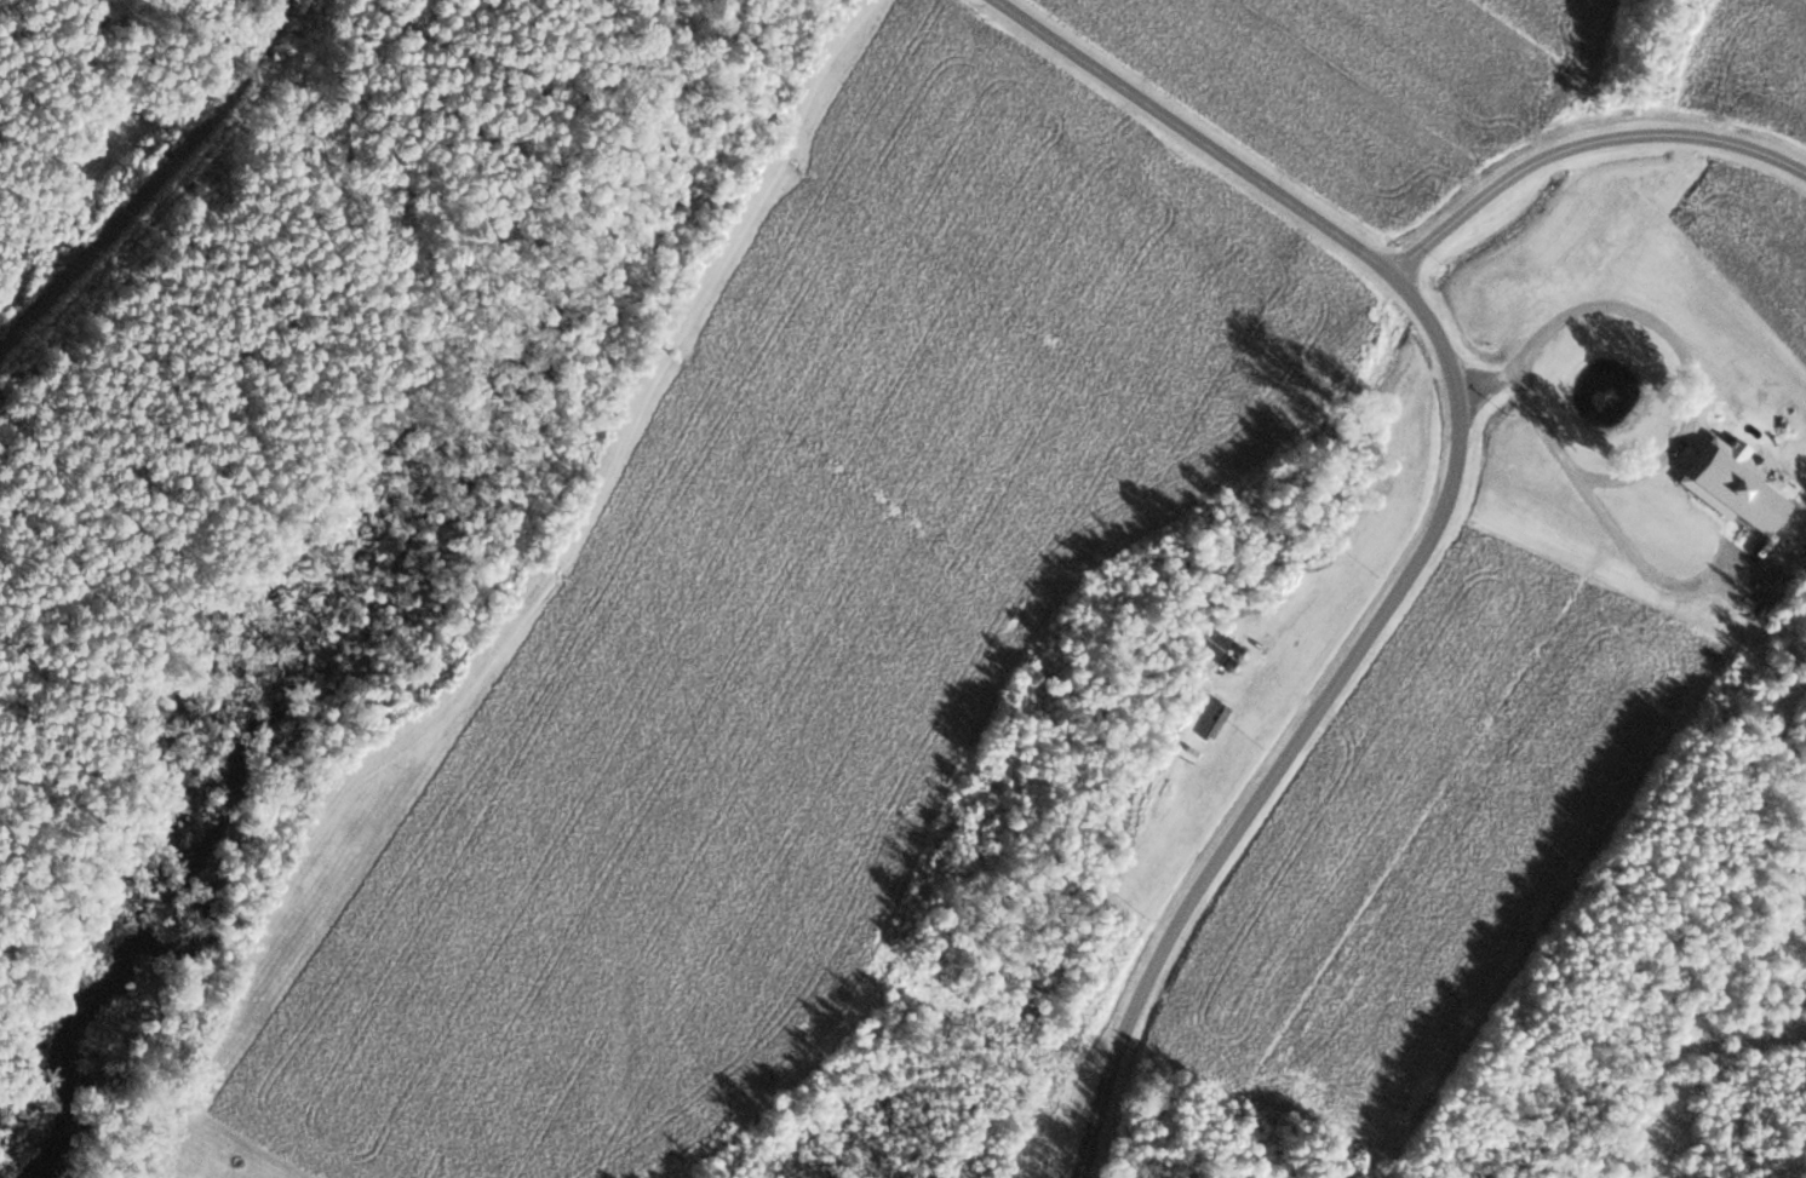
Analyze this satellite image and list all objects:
road: (1192, 137)
road: (1583, 148)
road: (151, 180)
road: (1306, 724)

